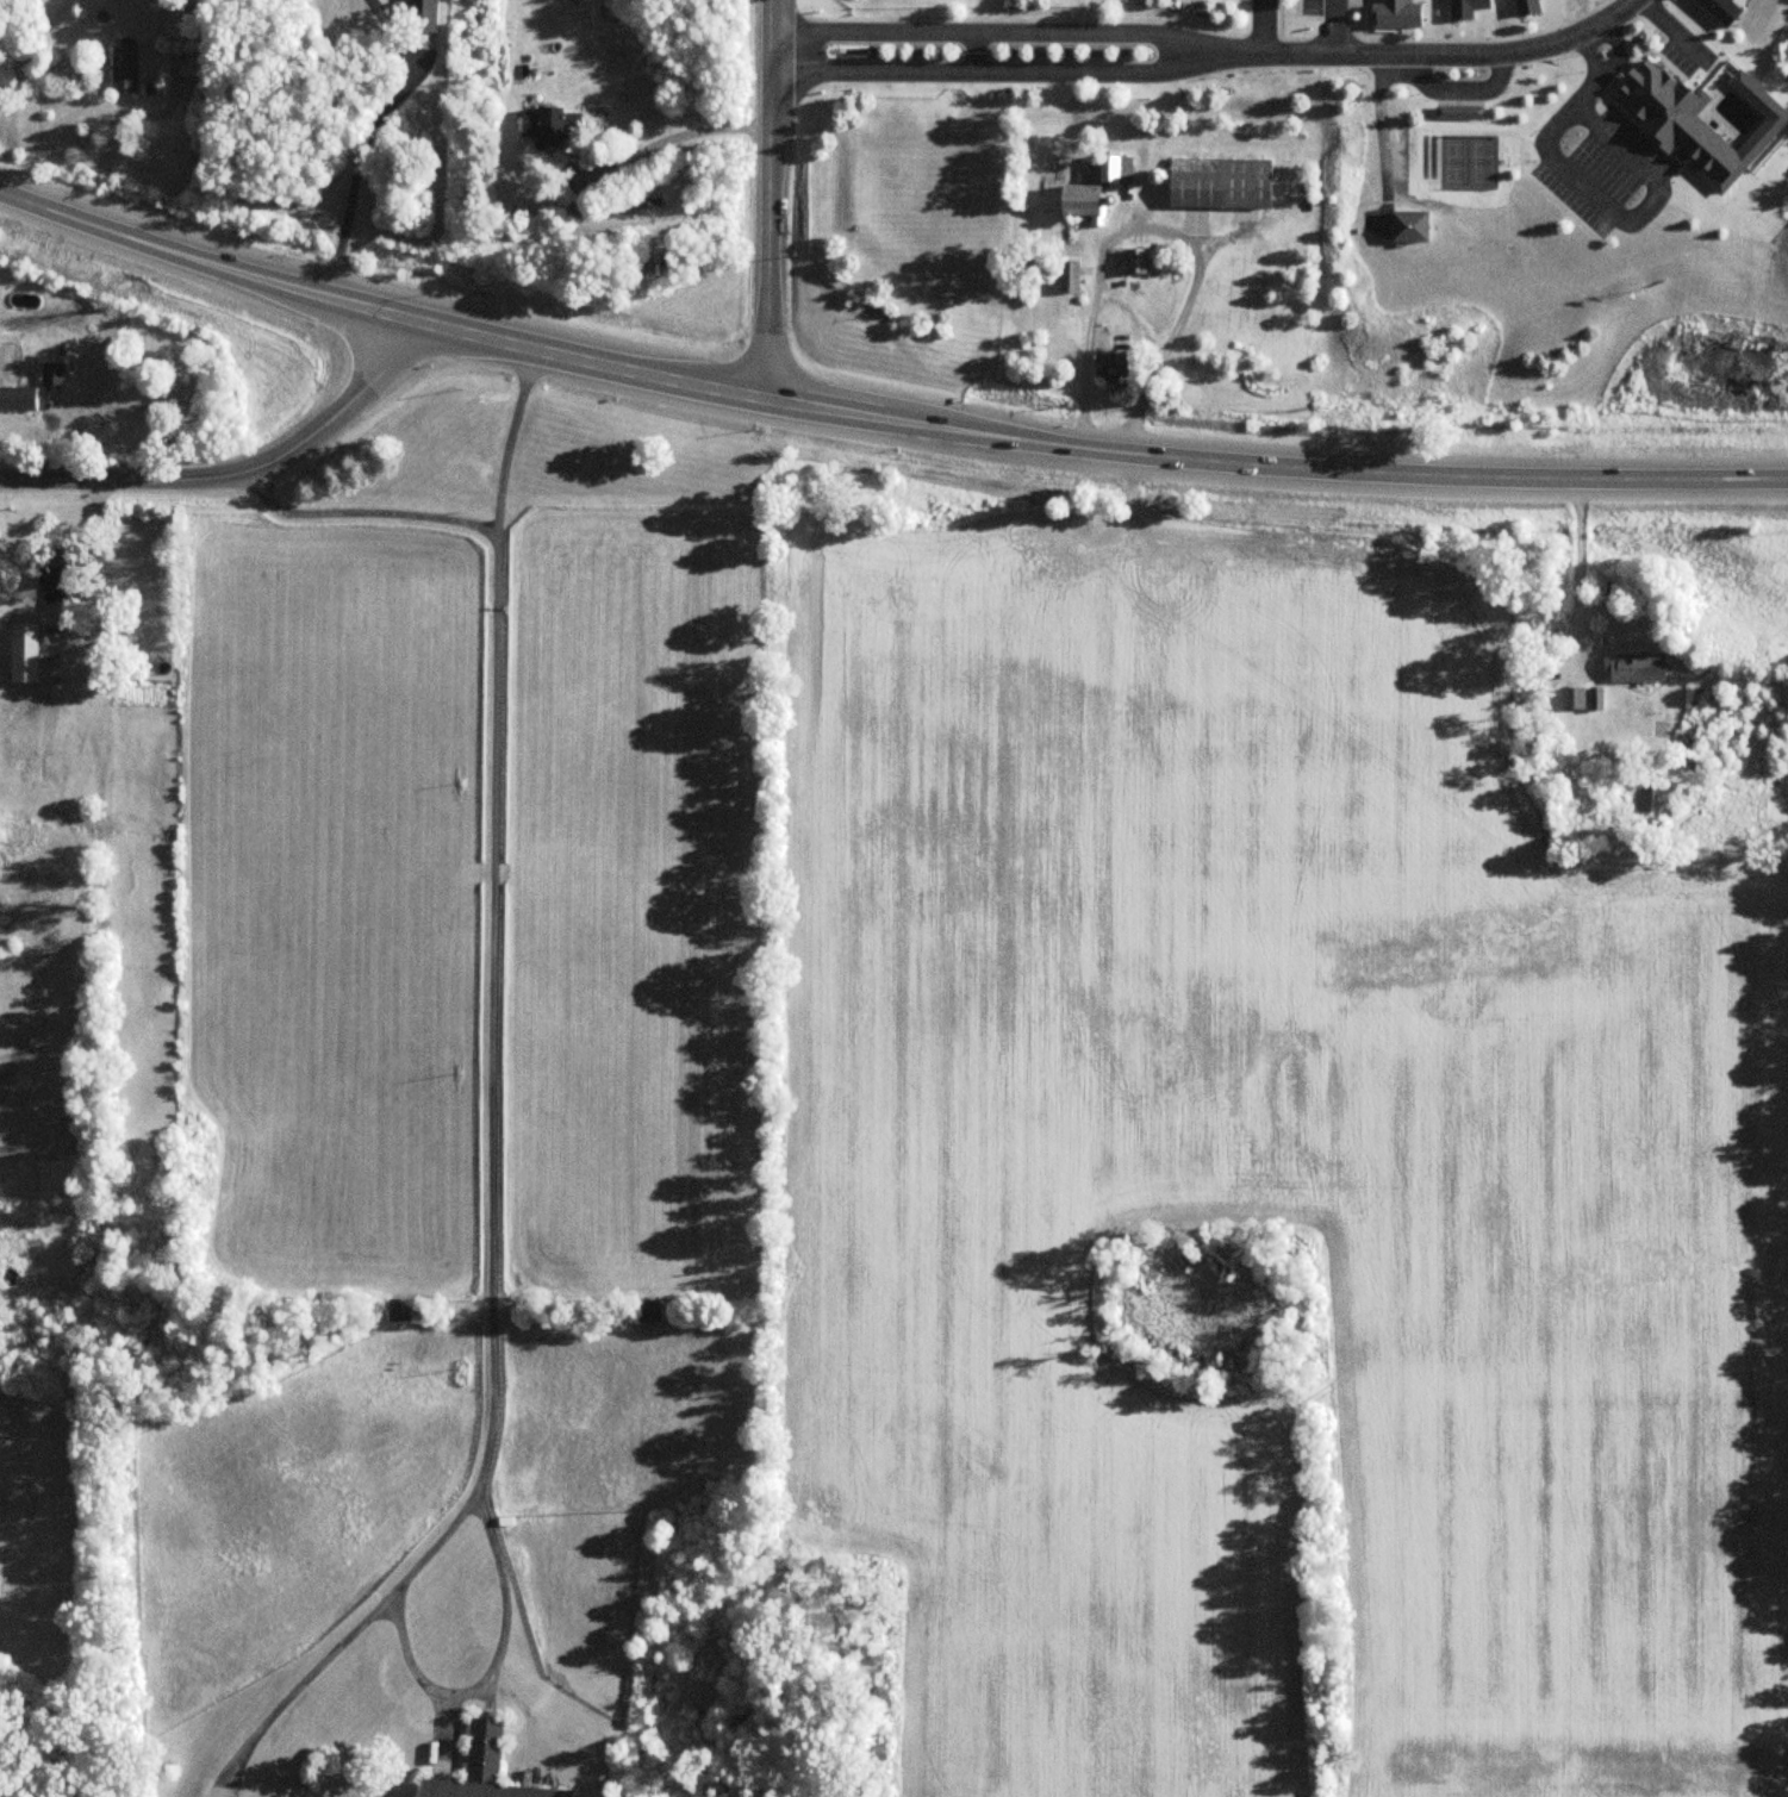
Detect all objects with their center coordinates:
building: (420, 15)
road: (1265, 26)
road: (1680, 26)
building: (176, 27)
road: (1334, 27)
road: (1590, 48)
road: (1225, 54)
road: (1434, 55)
building: (123, 67)
road: (83, 88)
building: (1655, 98)
building: (1458, 111)
building: (543, 125)
road: (669, 136)
road: (366, 138)
road: (1378, 138)
building: (1108, 168)
building: (1219, 182)
road: (1588, 186)
building: (1078, 199)
road: (770, 200)
building: (1408, 225)
road: (1159, 230)
building: (1134, 261)
building: (1069, 276)
road: (1135, 319)
building: (1110, 366)
building: (51, 373)
building: (17, 398)
road: (880, 417)
road: (241, 474)
road: (365, 511)
road: (1574, 555)
building: (57, 576)
road: (96, 581)
building: (21, 651)
building: (1633, 666)
building: (1571, 697)
building: (1647, 798)
road: (491, 1098)
building: (398, 1310)
building: (647, 1311)
road: (494, 1661)
building: (484, 1770)

